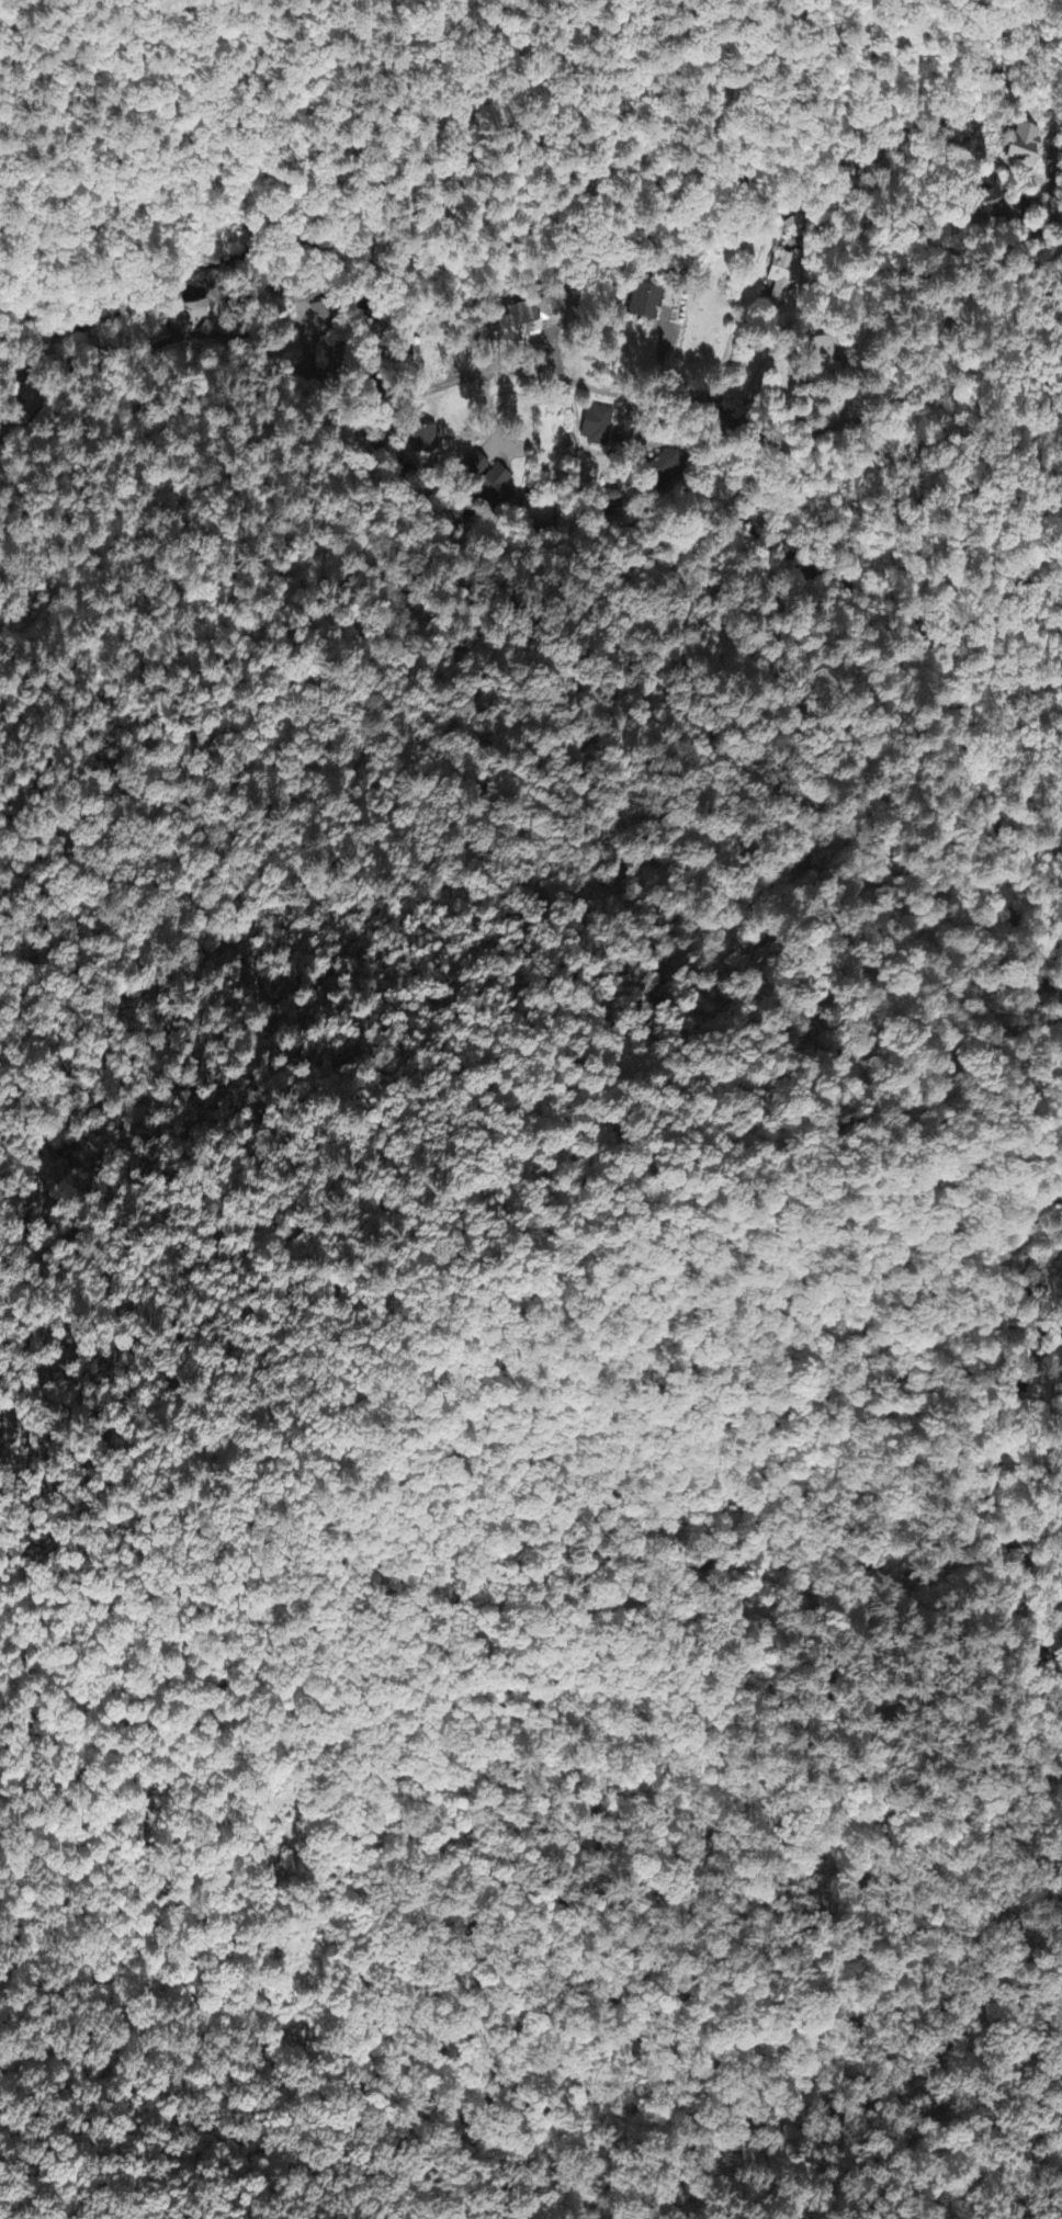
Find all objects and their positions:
building: (1021, 145)
building: (986, 191)
building: (793, 228)
building: (784, 275)
building: (645, 303)
building: (323, 315)
building: (190, 317)
building: (523, 321)
building: (823, 350)
road: (552, 371)
building: (596, 427)
building: (423, 441)

